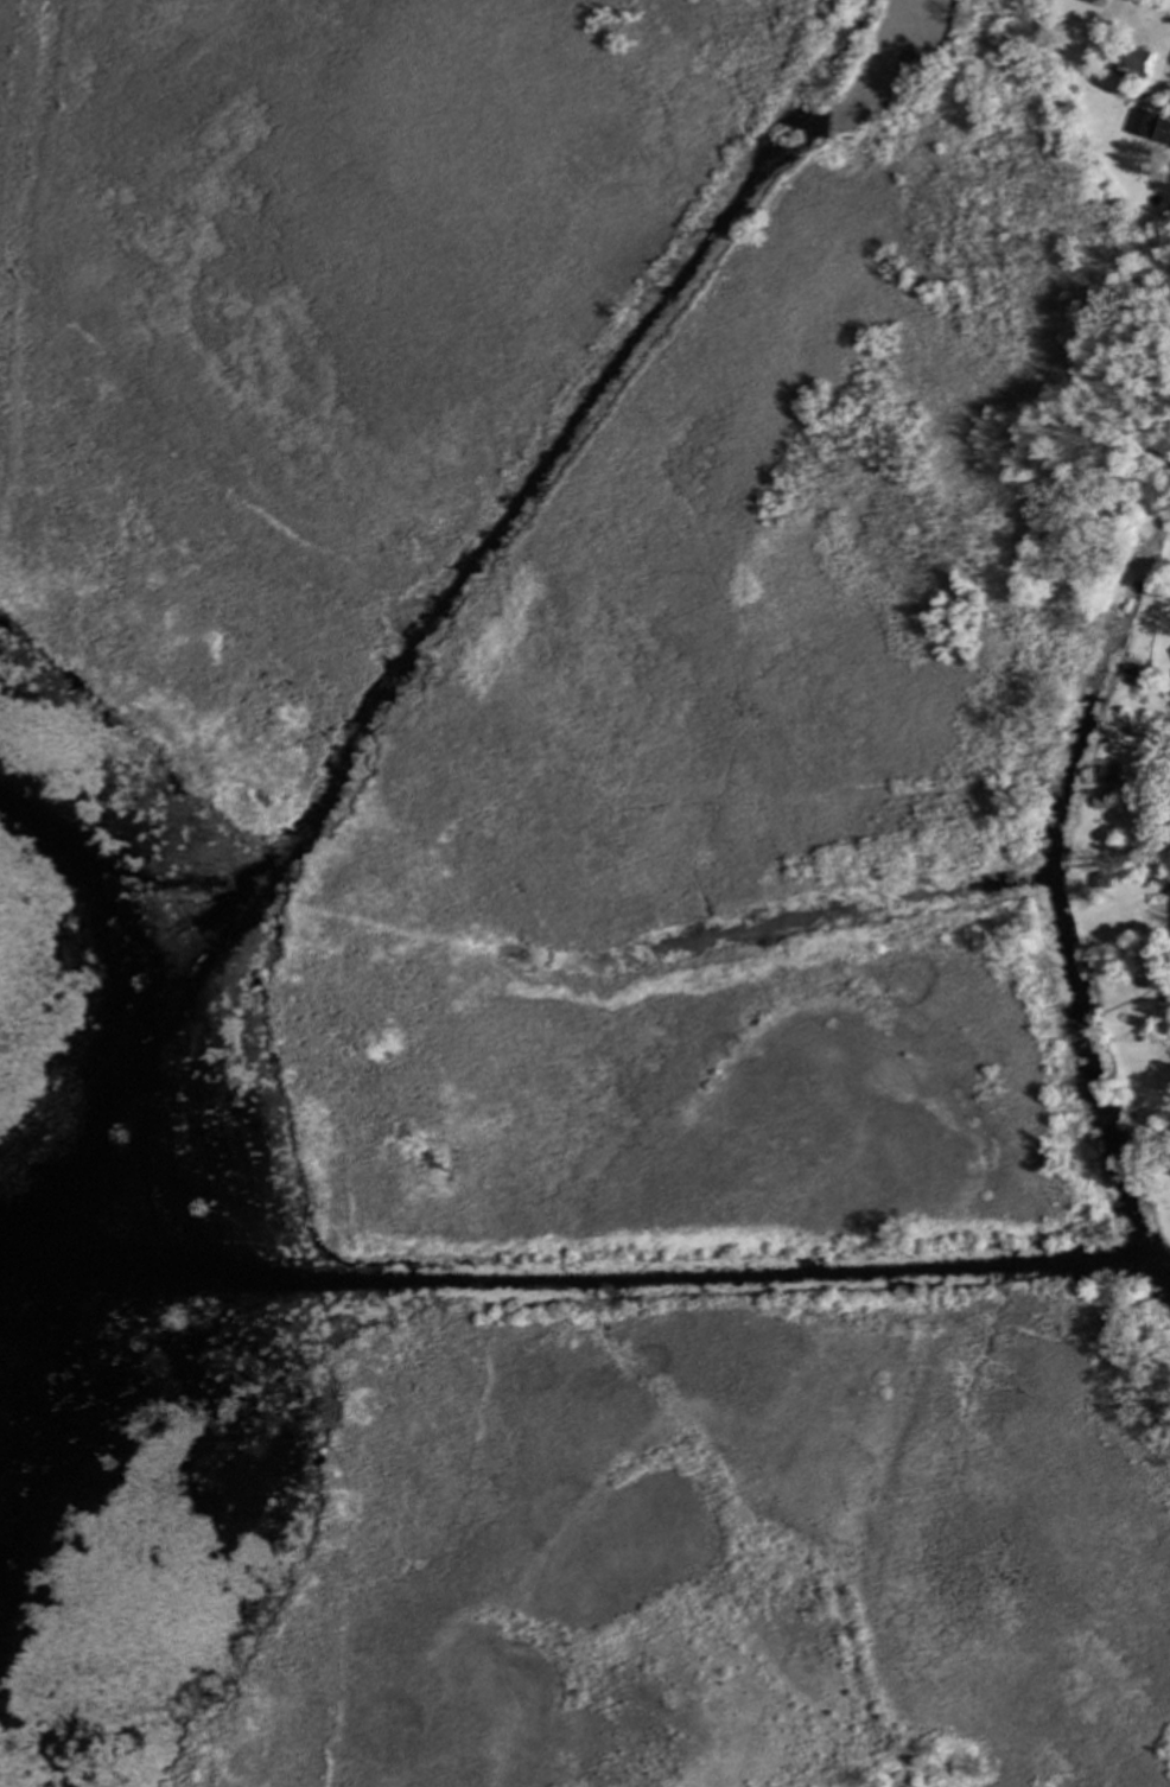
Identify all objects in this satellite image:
building: (1137, 59)
road: (869, 101)
building: (1144, 122)
building: (1150, 586)
building: (1107, 774)
building: (1096, 882)

